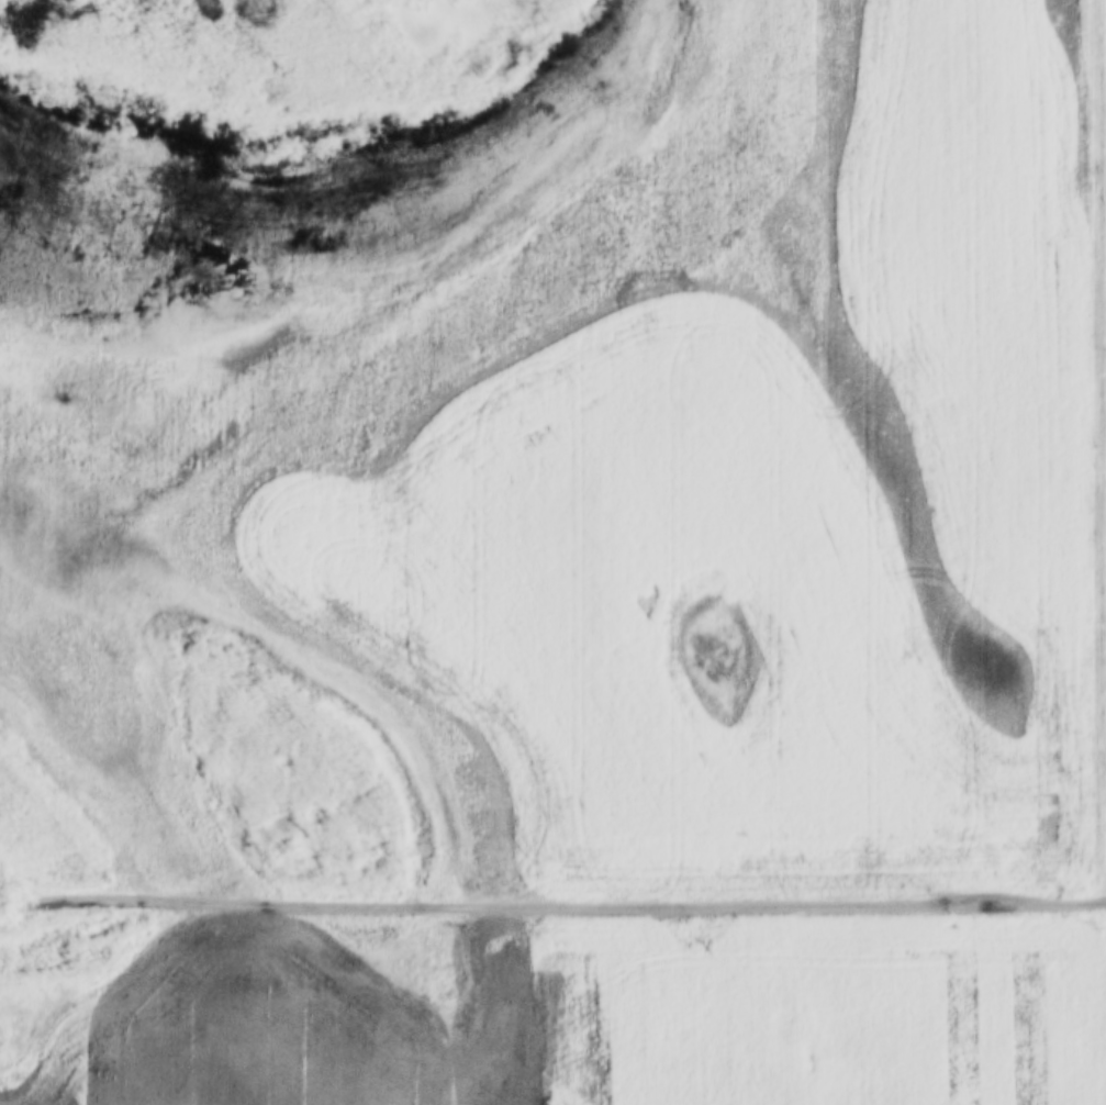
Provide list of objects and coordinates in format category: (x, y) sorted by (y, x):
road: (552, 904)

